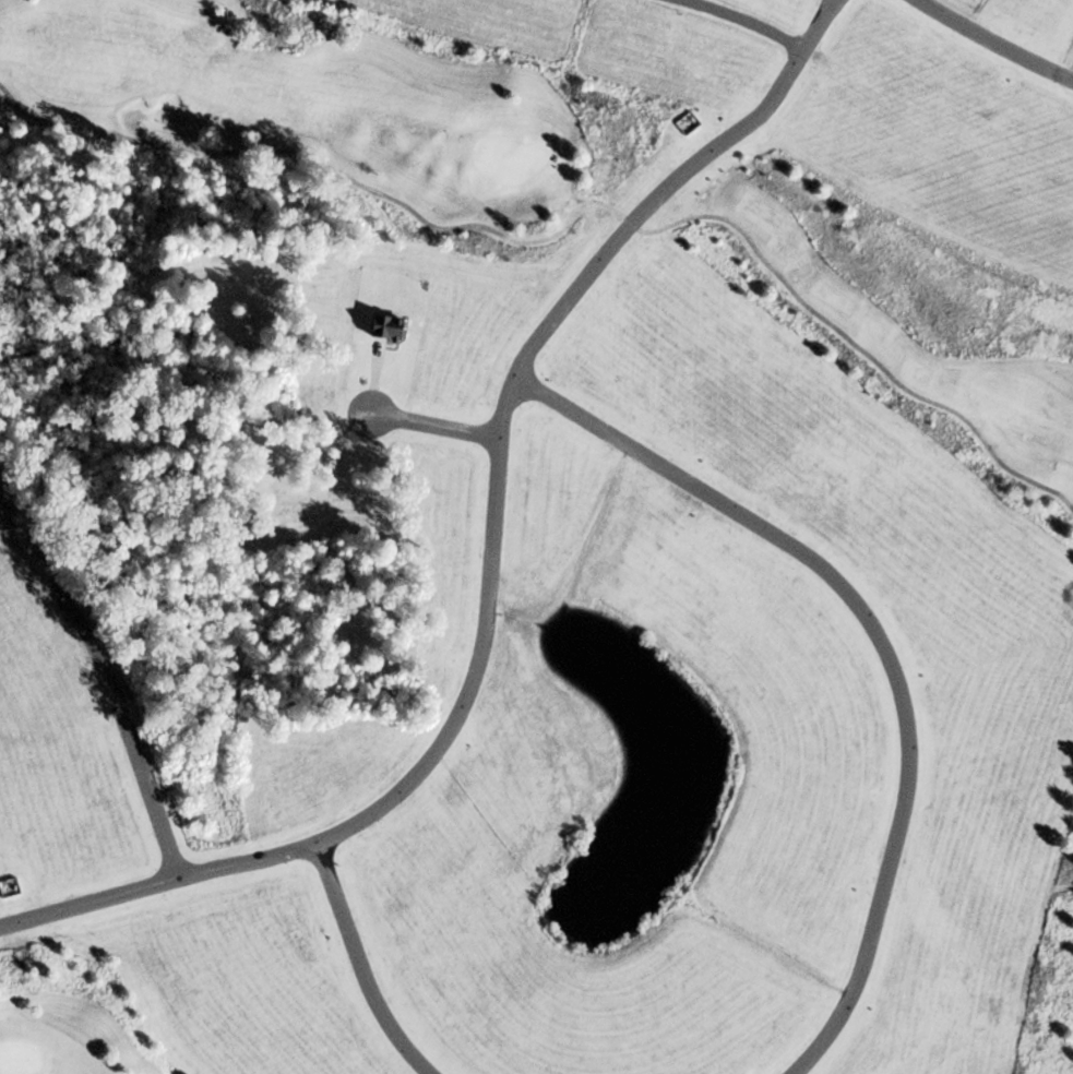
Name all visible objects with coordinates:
road: (825, 5)
road: (831, 5)
road: (736, 21)
road: (990, 45)
road: (1069, 72)
building: (687, 123)
road: (572, 210)
building: (383, 334)
road: (370, 382)
road: (431, 426)
road: (487, 563)
road: (878, 645)
road: (105, 683)
building: (9, 887)
road: (358, 966)
park: (17, 1061)

